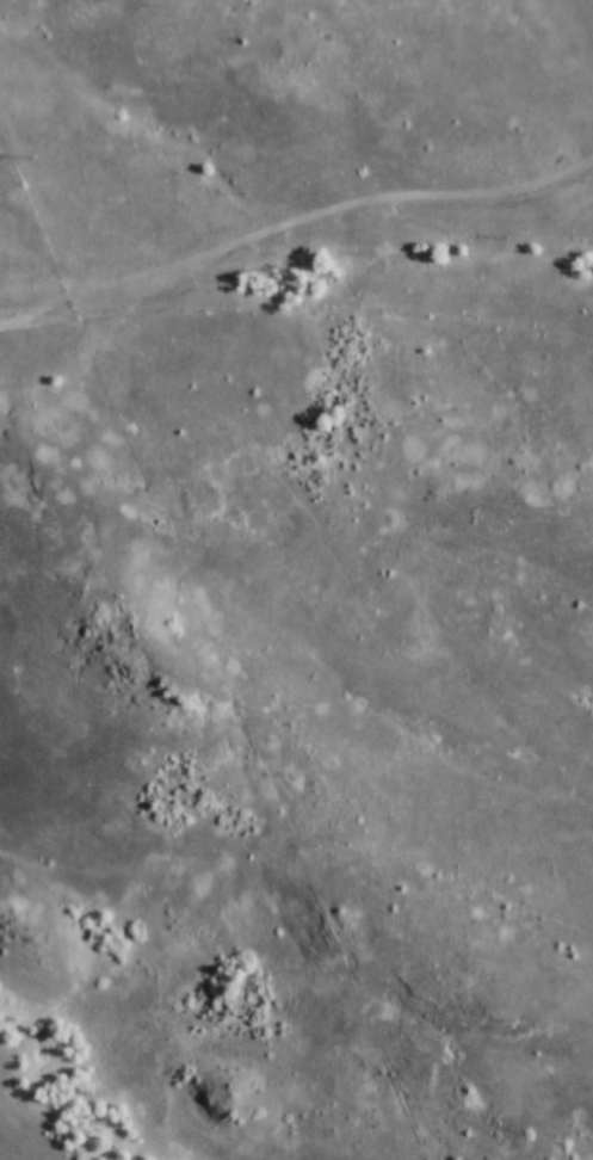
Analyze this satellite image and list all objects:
road: (292, 232)

